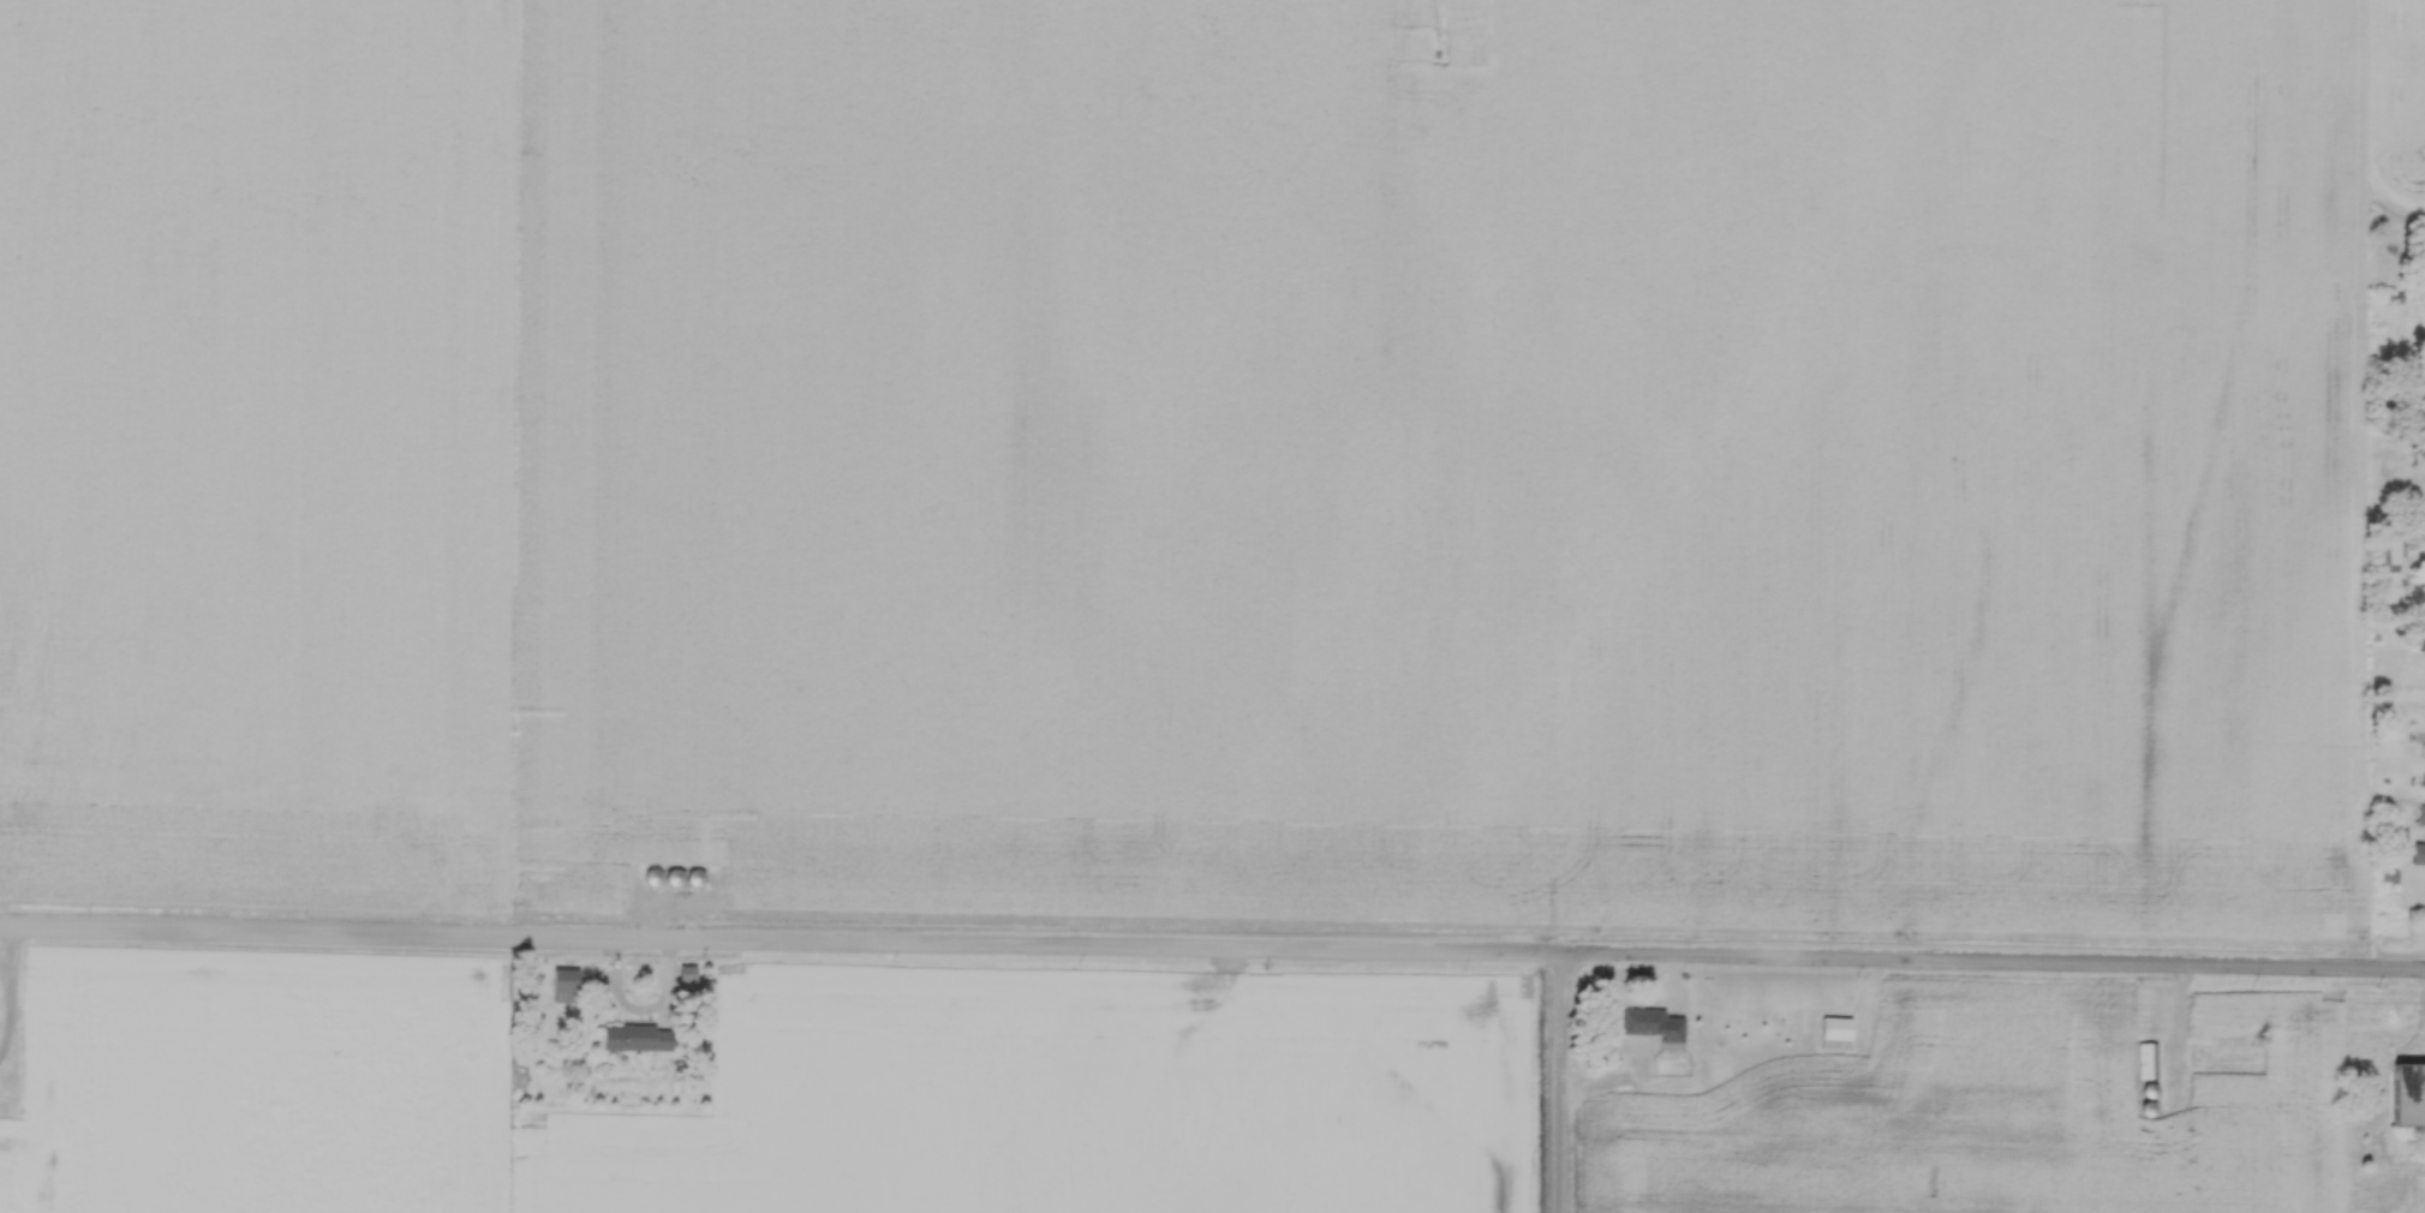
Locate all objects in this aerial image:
building: (2420, 393)
building: (2412, 420)
building: (2388, 540)
building: (2421, 815)
building: (2417, 854)
road: (1212, 946)
building: (563, 986)
building: (1653, 1023)
building: (1835, 1034)
building: (637, 1038)
building: (2148, 1060)
road: (1561, 1083)
building: (2407, 1095)

